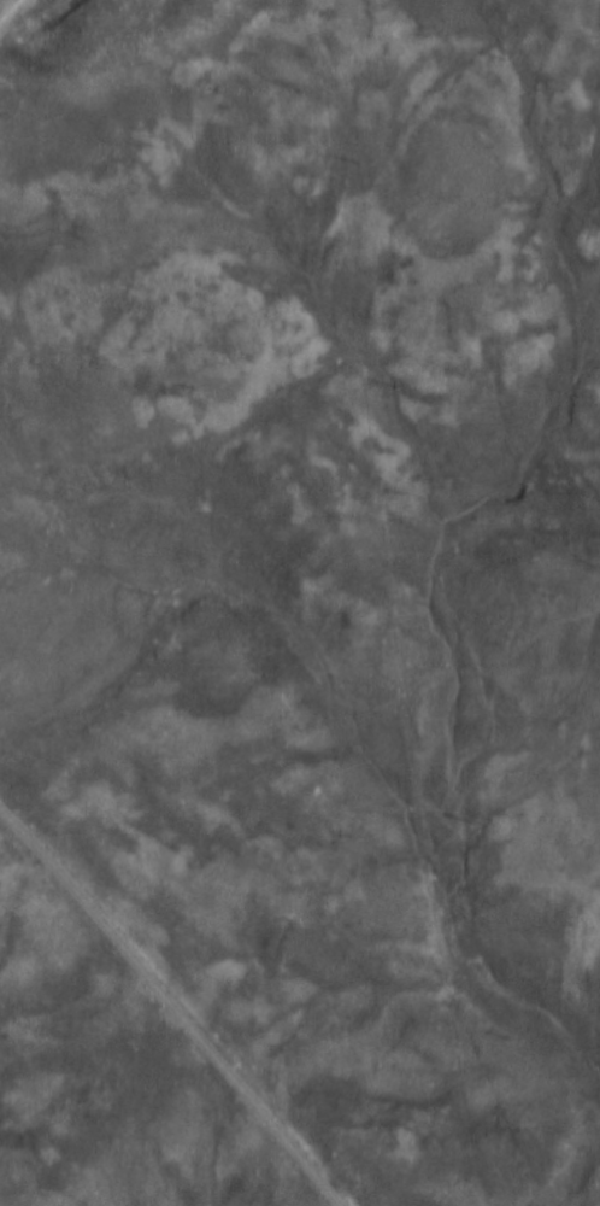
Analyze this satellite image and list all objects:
road: (1, 1)
road: (170, 1008)

